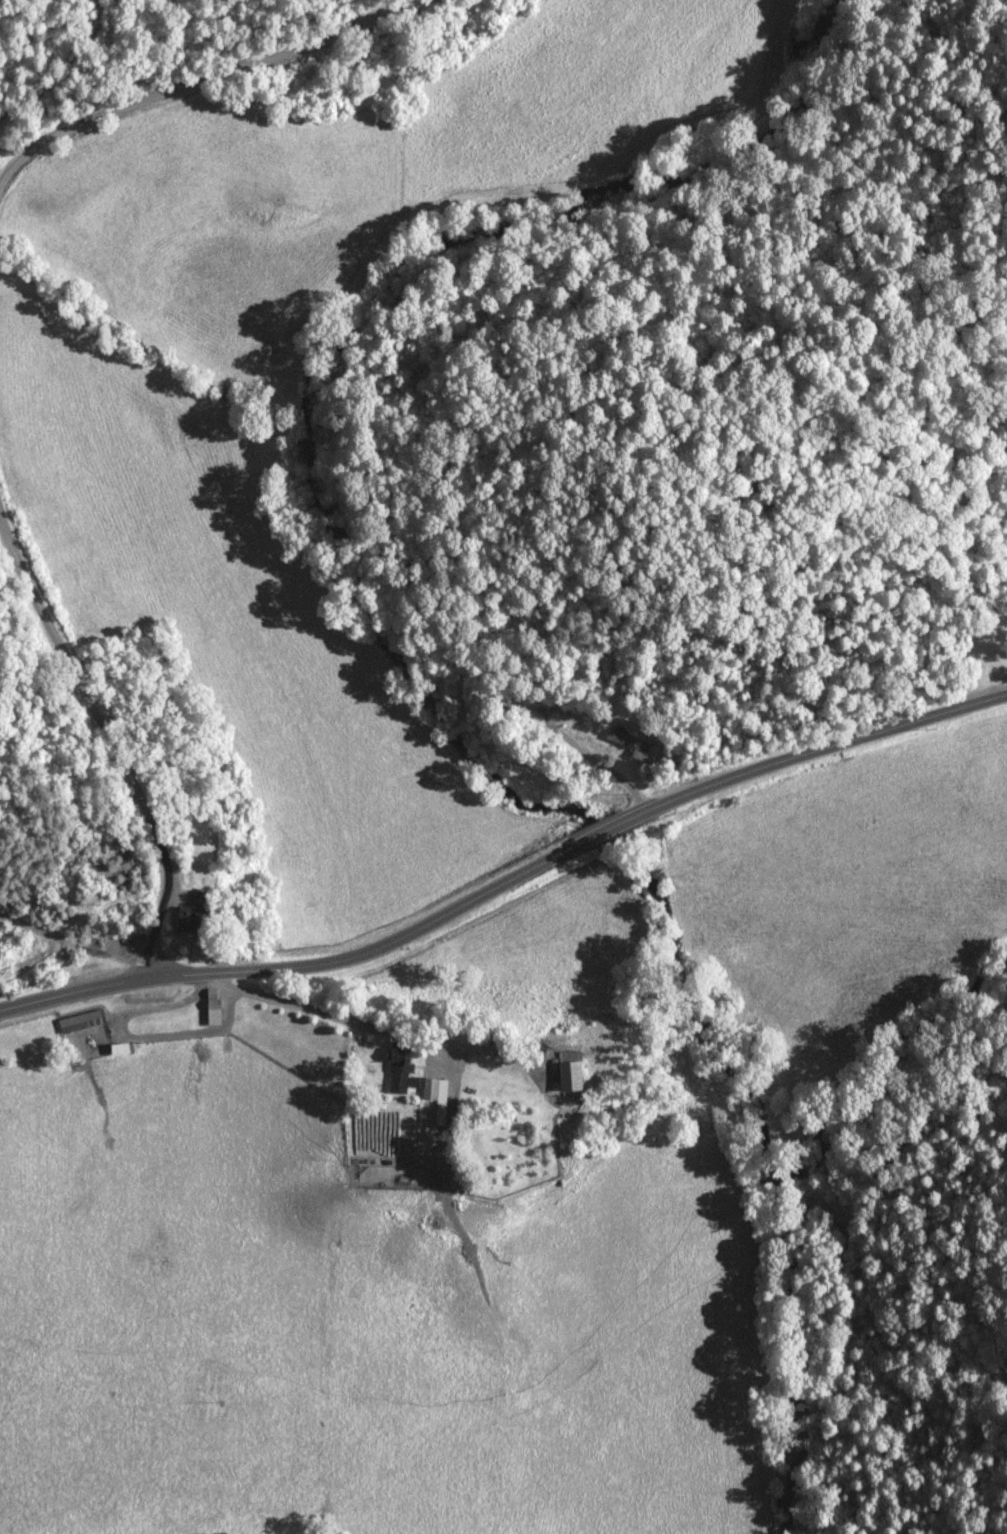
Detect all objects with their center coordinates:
road: (0, 382)
river: (406, 656)
building: (628, 741)
road: (815, 753)
road: (602, 832)
building: (189, 923)
road: (300, 967)
building: (214, 1012)
building: (83, 1021)
road: (378, 1040)
building: (409, 1075)
building: (570, 1075)
road: (444, 1119)

